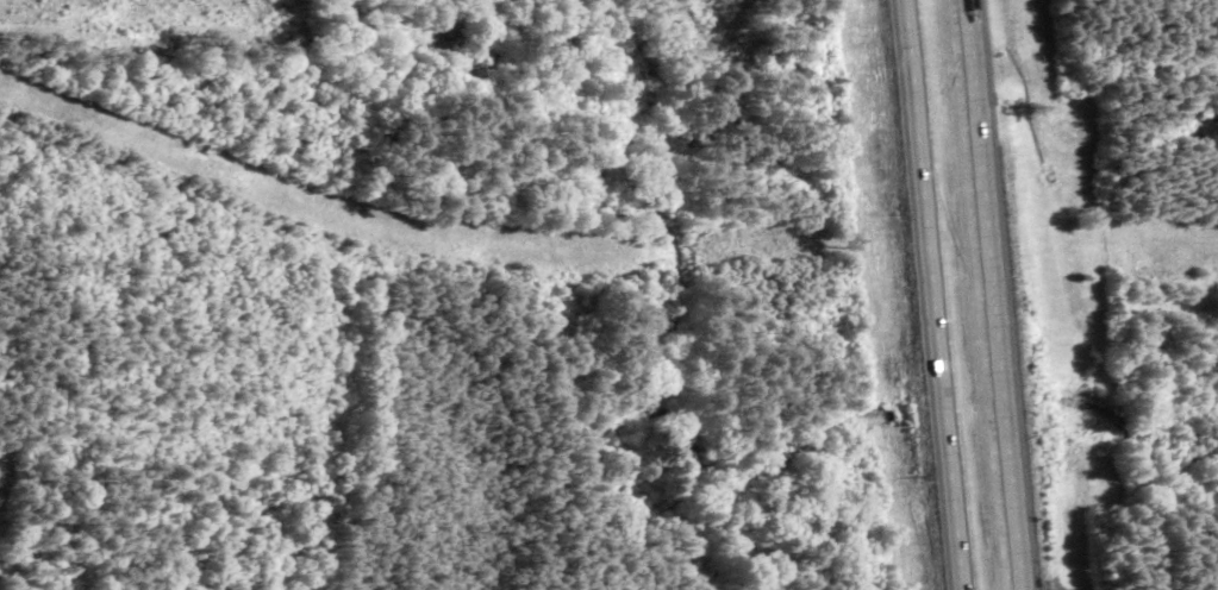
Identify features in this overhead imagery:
road: (933, 294)
road: (995, 295)

